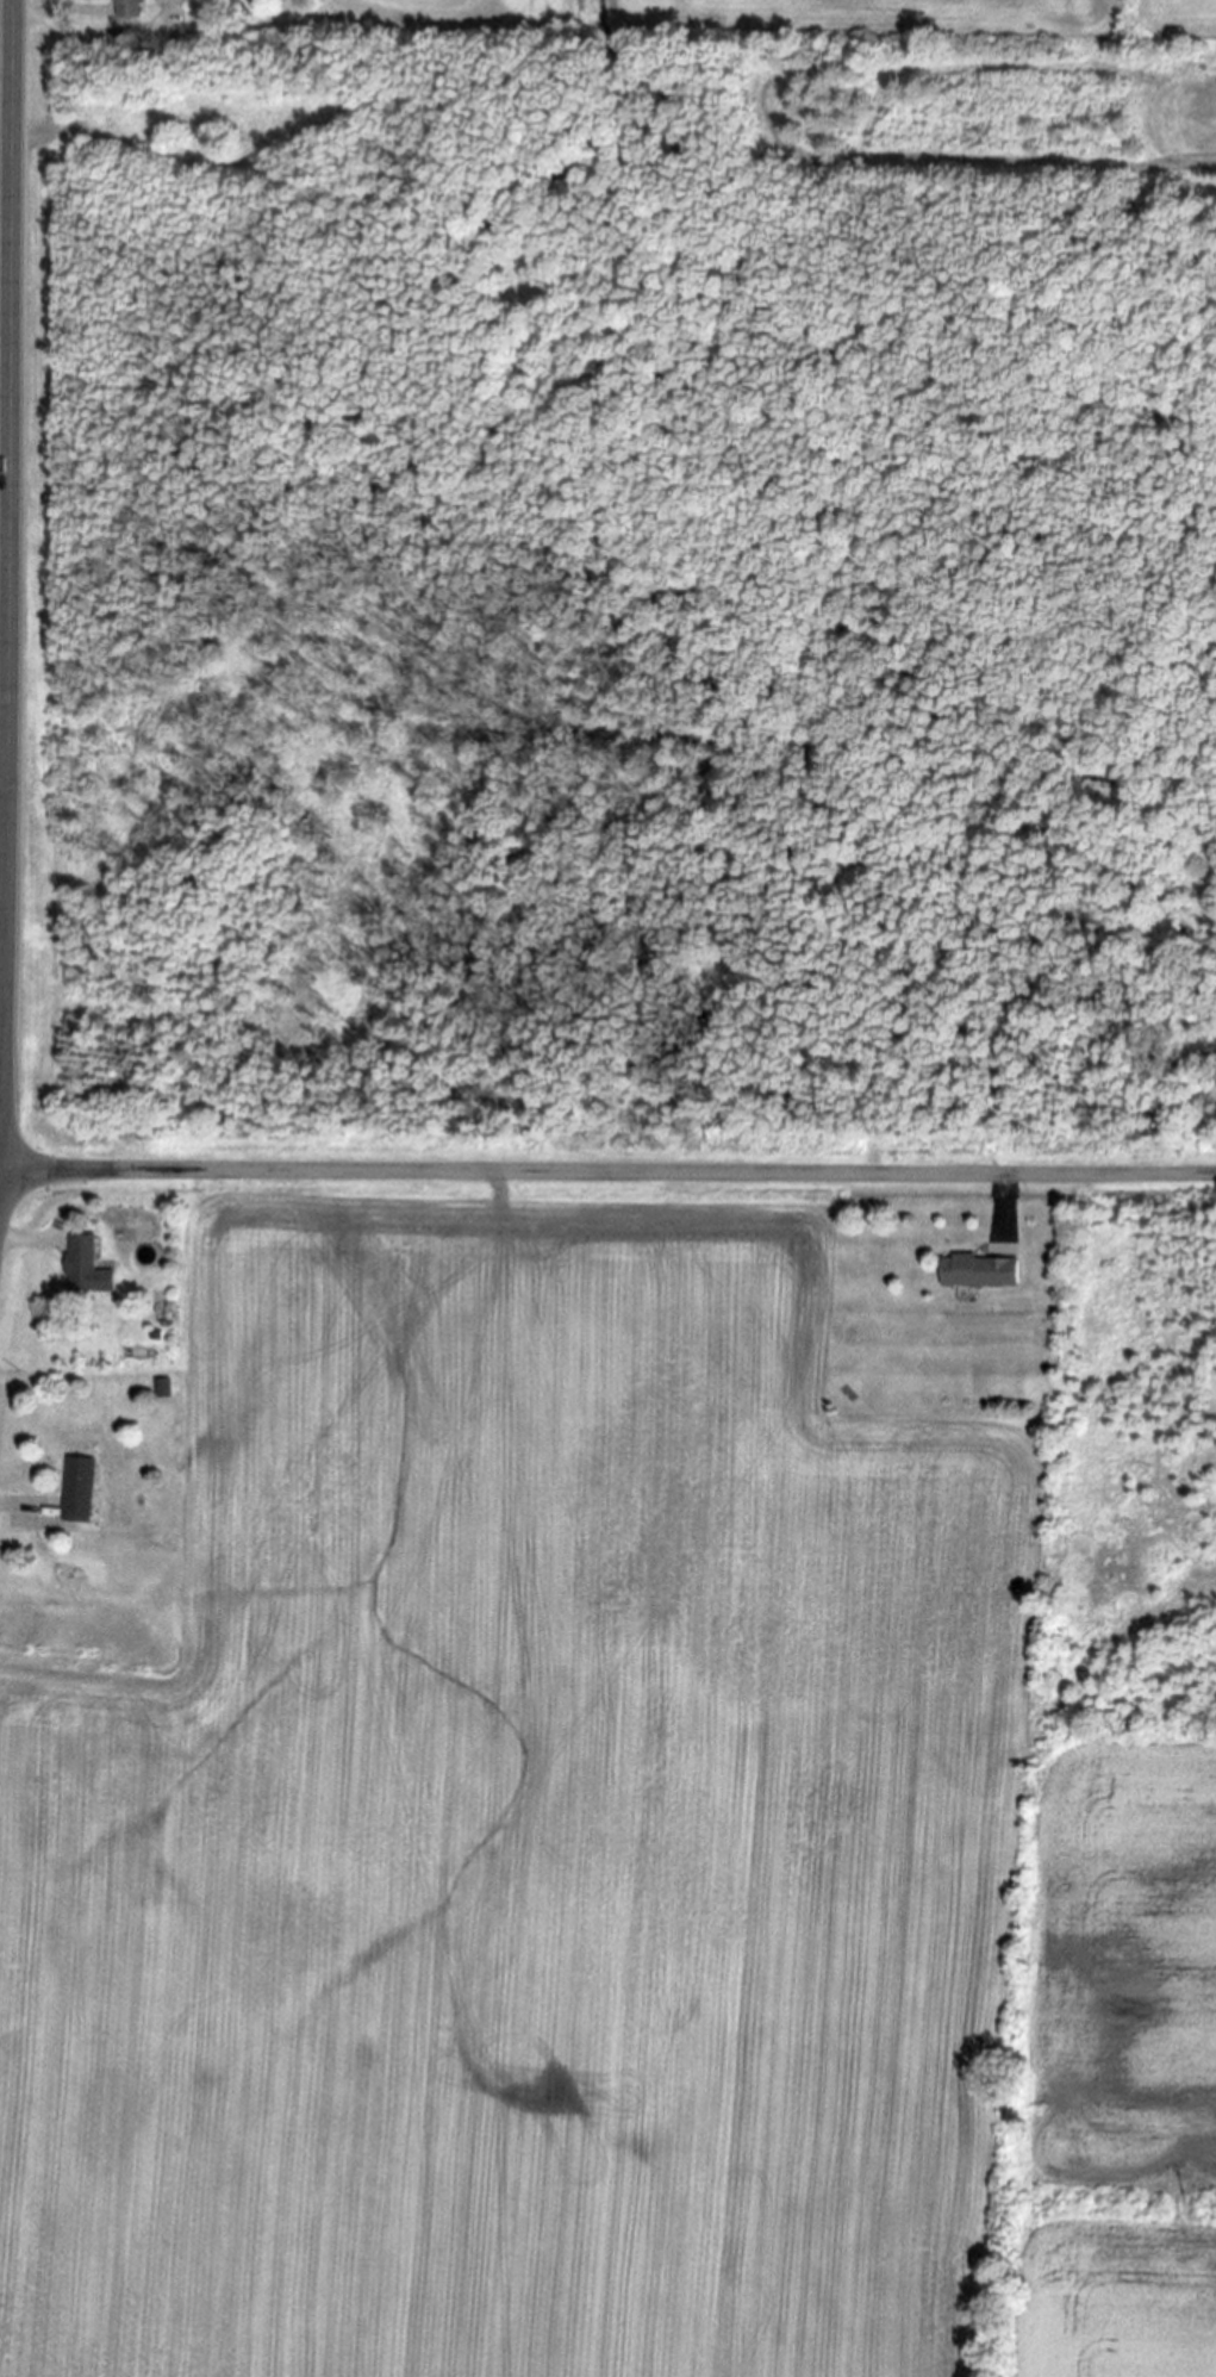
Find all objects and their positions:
building: (168, 2)
building: (126, 10)
road: (52, 17)
road: (11, 556)
road: (607, 1174)
road: (1003, 1203)
road: (21, 1242)
building: (81, 1264)
building: (978, 1271)
building: (166, 1387)
building: (77, 1491)
road: (18, 1504)

